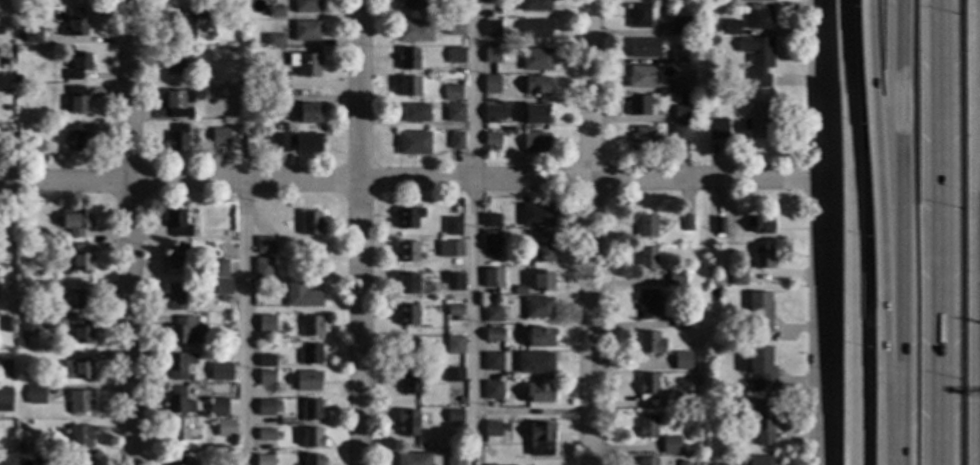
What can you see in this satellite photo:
building: (674, 0)
building: (757, 1)
building: (495, 2)
road: (935, 2)
building: (723, 3)
building: (410, 4)
building: (305, 6)
building: (534, 6)
building: (236, 9)
building: (275, 12)
building: (207, 14)
building: (641, 15)
building: (758, 20)
building: (77, 23)
building: (179, 26)
building: (680, 26)
building: (454, 28)
building: (728, 28)
building: (492, 29)
building: (535, 30)
building: (306, 31)
building: (414, 31)
building: (694, 32)
building: (32, 36)
building: (274, 40)
building: (247, 42)
building: (498, 43)
building: (643, 48)
building: (494, 55)
building: (678, 55)
building: (455, 56)
building: (407, 59)
building: (536, 60)
building: (756, 60)
building: (4, 62)
building: (174, 62)
building: (305, 64)
building: (77, 66)
building: (249, 67)
building: (188, 75)
building: (643, 78)
building: (16, 80)
building: (277, 80)
building: (730, 81)
building: (493, 85)
building: (536, 86)
building: (680, 86)
building: (408, 87)
building: (452, 93)
building: (76, 100)
building: (281, 100)
building: (178, 103)
building: (638, 106)
building: (7, 109)
building: (17, 109)
building: (307, 113)
building: (414, 113)
building: (454, 113)
building: (495, 113)
building: (680, 113)
building: (534, 114)
building: (758, 120)
building: (717, 129)
building: (680, 133)
building: (78, 138)
building: (177, 138)
building: (220, 138)
building: (247, 138)
building: (642, 138)
building: (491, 139)
building: (456, 141)
building: (279, 143)
building: (307, 143)
building: (413, 143)
building: (534, 143)
road: (408, 181)
road: (894, 205)
road: (875, 206)
building: (535, 215)
building: (407, 218)
building: (491, 220)
building: (76, 222)
building: (310, 223)
building: (686, 223)
building: (177, 224)
building: (759, 225)
building: (452, 226)
building: (645, 227)
building: (717, 227)
building: (503, 231)
road: (129, 232)
road: (355, 232)
road: (475, 232)
road: (592, 232)
road: (817, 232)
road: (849, 232)
building: (18, 233)
road: (937, 234)
building: (491, 238)
building: (264, 246)
building: (540, 247)
building: (449, 249)
building: (405, 252)
building: (175, 257)
building: (761, 257)
building: (80, 258)
building: (646, 258)
building: (263, 268)
building: (218, 269)
building: (18, 273)
building: (710, 273)
building: (675, 278)
building: (492, 279)
building: (737, 280)
building: (541, 281)
building: (453, 282)
building: (406, 284)
building: (223, 288)
building: (46, 290)
building: (519, 291)
building: (176, 295)
building: (301, 295)
building: (81, 301)
building: (646, 303)
building: (674, 304)
building: (538, 308)
building: (454, 310)
building: (758, 313)
building: (492, 314)
building: (406, 315)
building: (680, 320)
building: (7, 324)
road: (244, 324)
building: (266, 324)
building: (28, 325)
building: (310, 327)
building: (185, 331)
building: (63, 333)
building: (492, 335)
building: (82, 336)
building: (537, 337)
building: (21, 342)
building: (228, 343)
building: (650, 344)
building: (454, 346)
building: (405, 347)
building: (310, 355)
building: (266, 361)
building: (682, 361)
building: (492, 362)
building: (534, 363)
building: (179, 365)
building: (76, 367)
building: (5, 369)
building: (760, 370)
building: (220, 372)
building: (454, 375)
building: (266, 378)
building: (408, 380)
building: (307, 381)
building: (647, 387)
building: (491, 392)
building: (537, 393)
building: (35, 395)
building: (5, 399)
building: (449, 399)
building: (671, 401)
building: (80, 402)
building: (178, 402)
building: (218, 407)
building: (265, 408)
building: (311, 410)
building: (454, 416)
building: (762, 423)
building: (20, 424)
building: (407, 424)
building: (646, 427)
building: (225, 429)
building: (492, 433)
building: (265, 435)
building: (77, 437)
building: (181, 437)
building: (312, 438)
road: (896, 438)
building: (540, 440)
building: (670, 446)
building: (234, 449)
building: (20, 450)
building: (228, 459)
building: (413, 459)
building: (454, 459)
building: (22, 460)
building: (264, 460)
building: (312, 460)
building: (178, 461)
building: (646, 461)
building: (755, 461)
building: (75, 463)
building: (720, 464)

